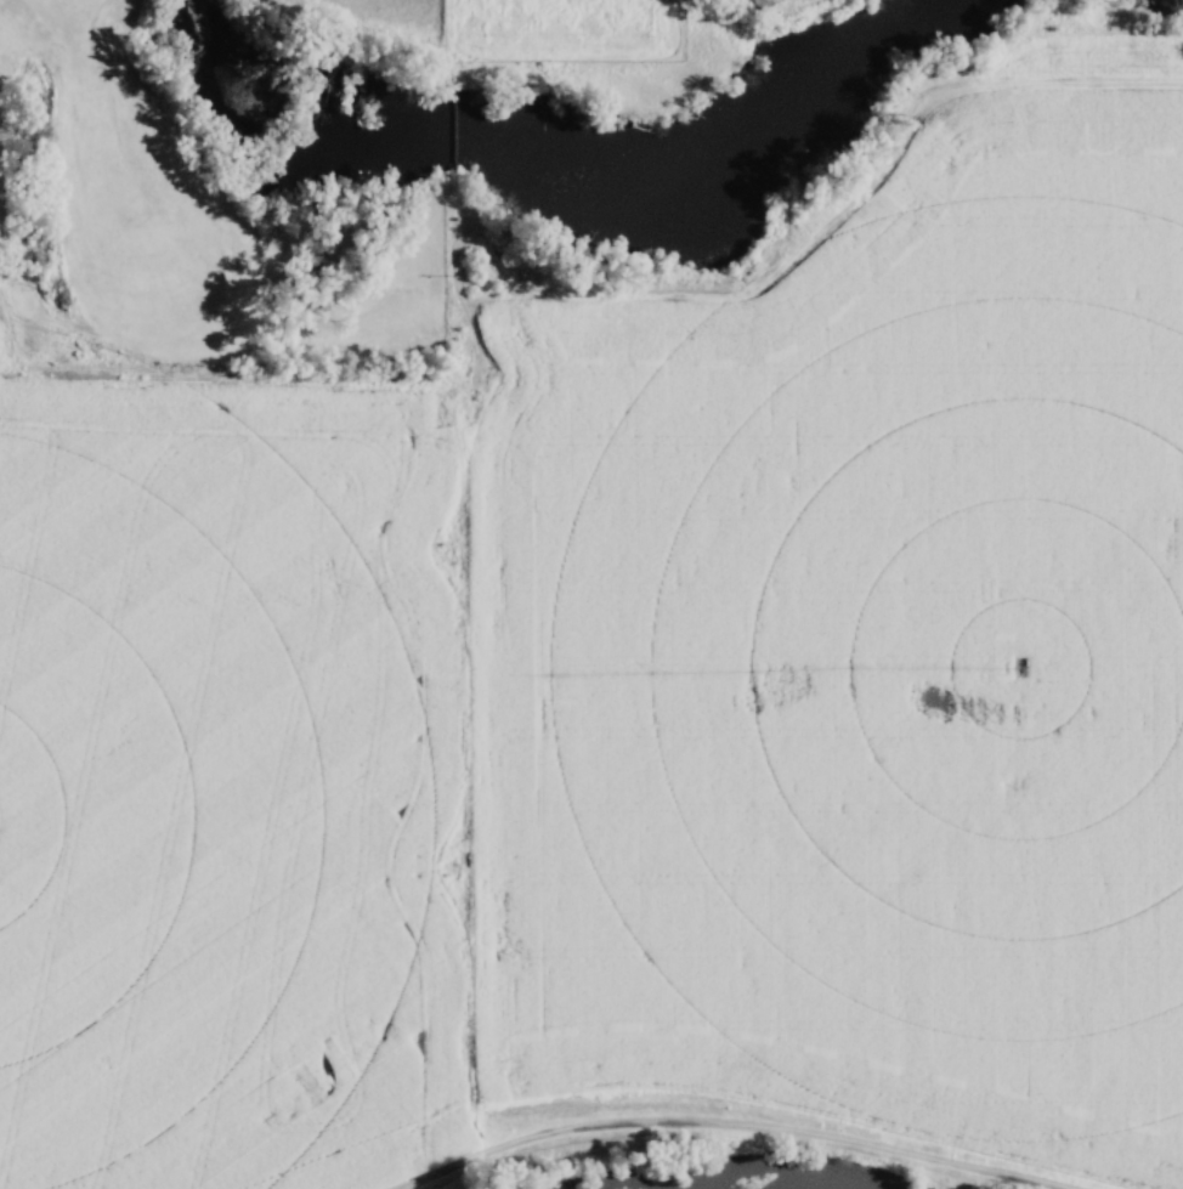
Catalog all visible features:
river: (746, 1177)

